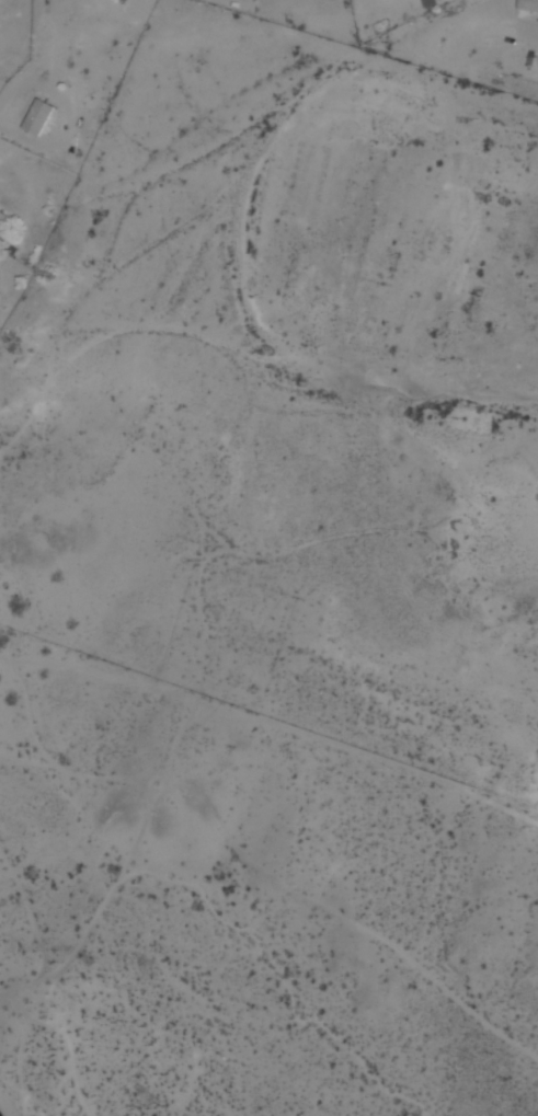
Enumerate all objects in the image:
building: (113, 0)
building: (528, 4)
road: (3, 118)
building: (38, 118)
building: (2, 217)

